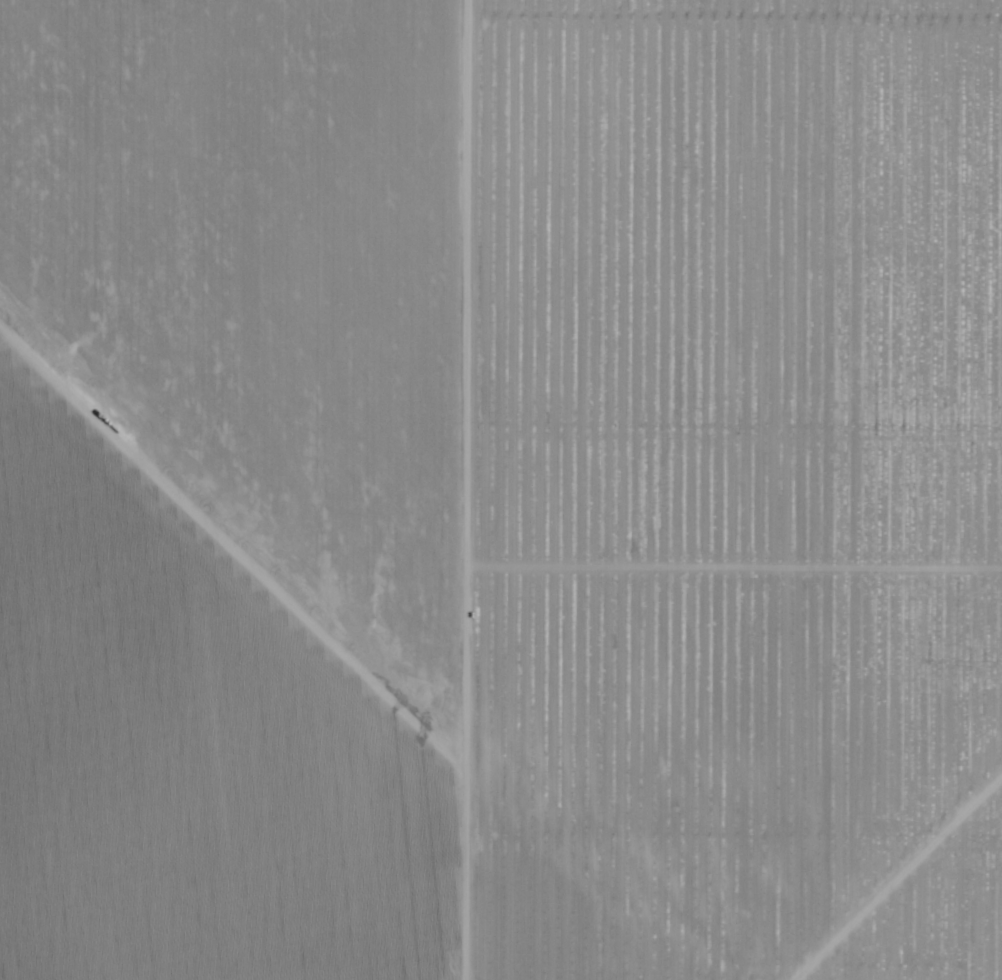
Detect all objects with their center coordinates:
crop: (455, 402)

